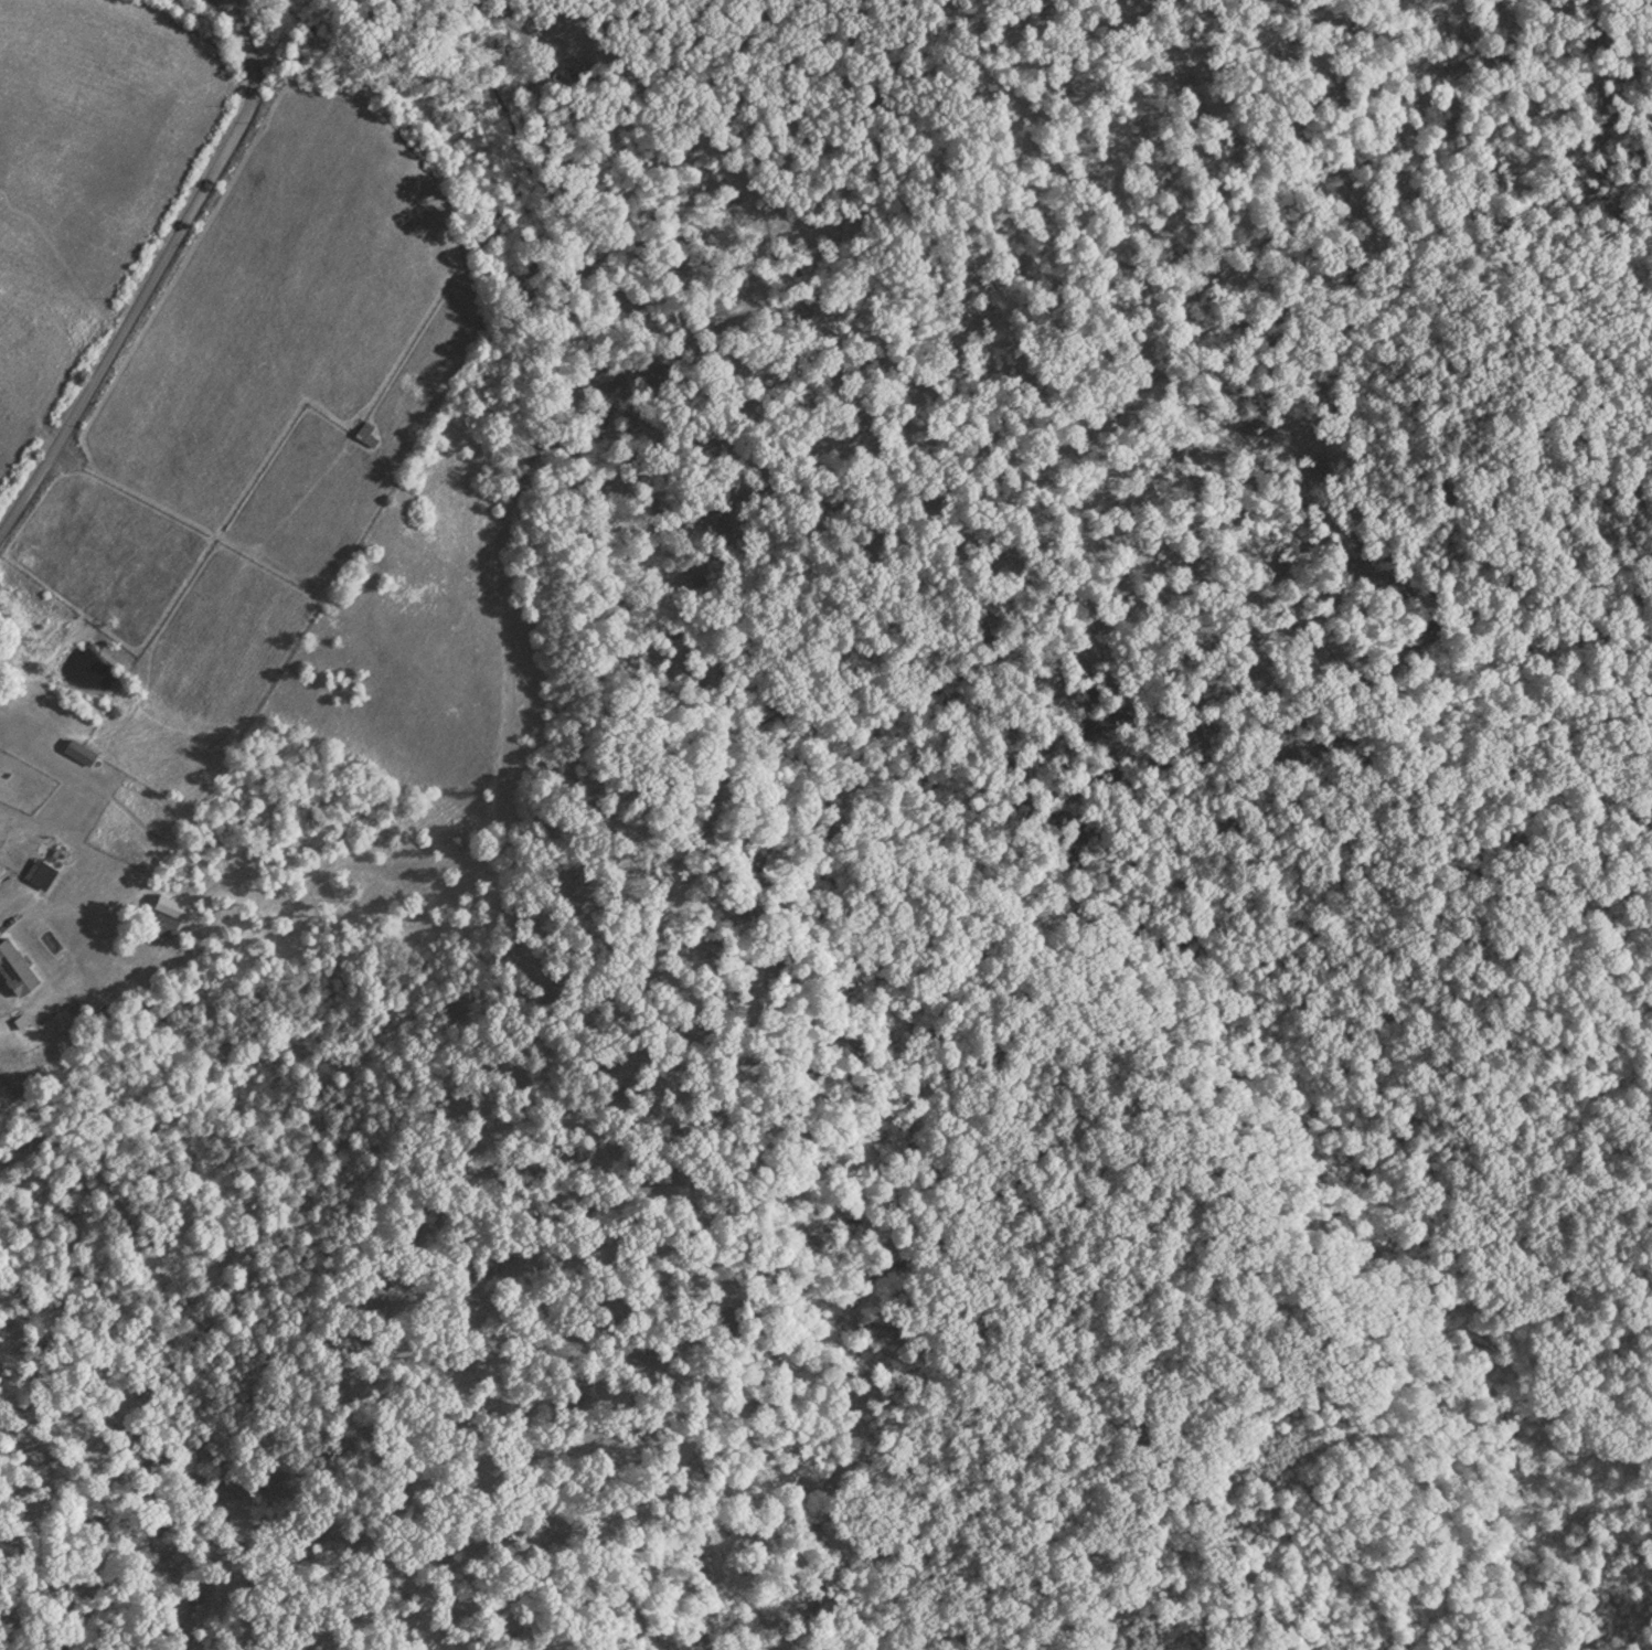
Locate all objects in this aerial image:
road: (157, 273)
building: (367, 434)
building: (81, 747)
building: (41, 869)
building: (174, 903)
road: (4, 917)
building: (17, 964)

